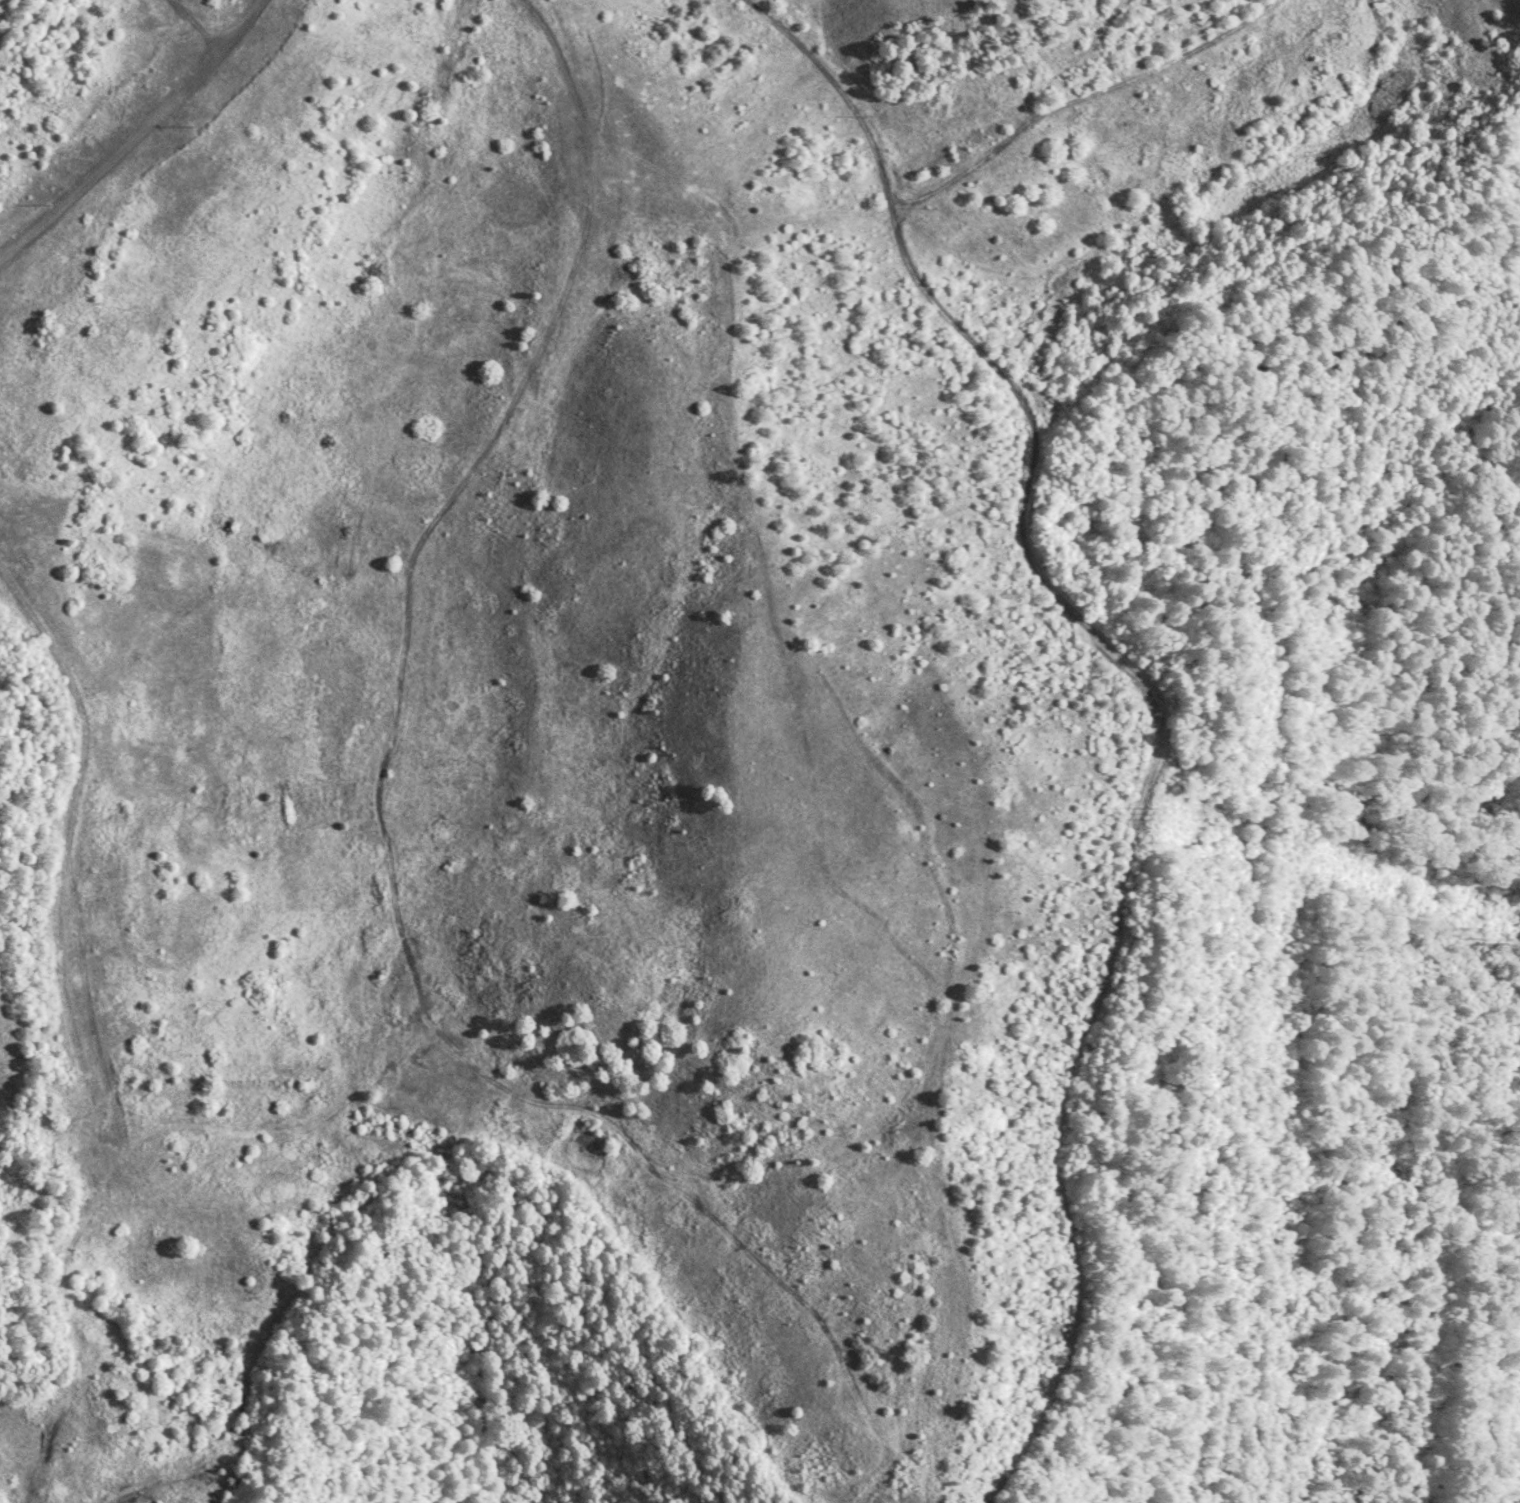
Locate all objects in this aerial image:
quarry: (594, 666)

